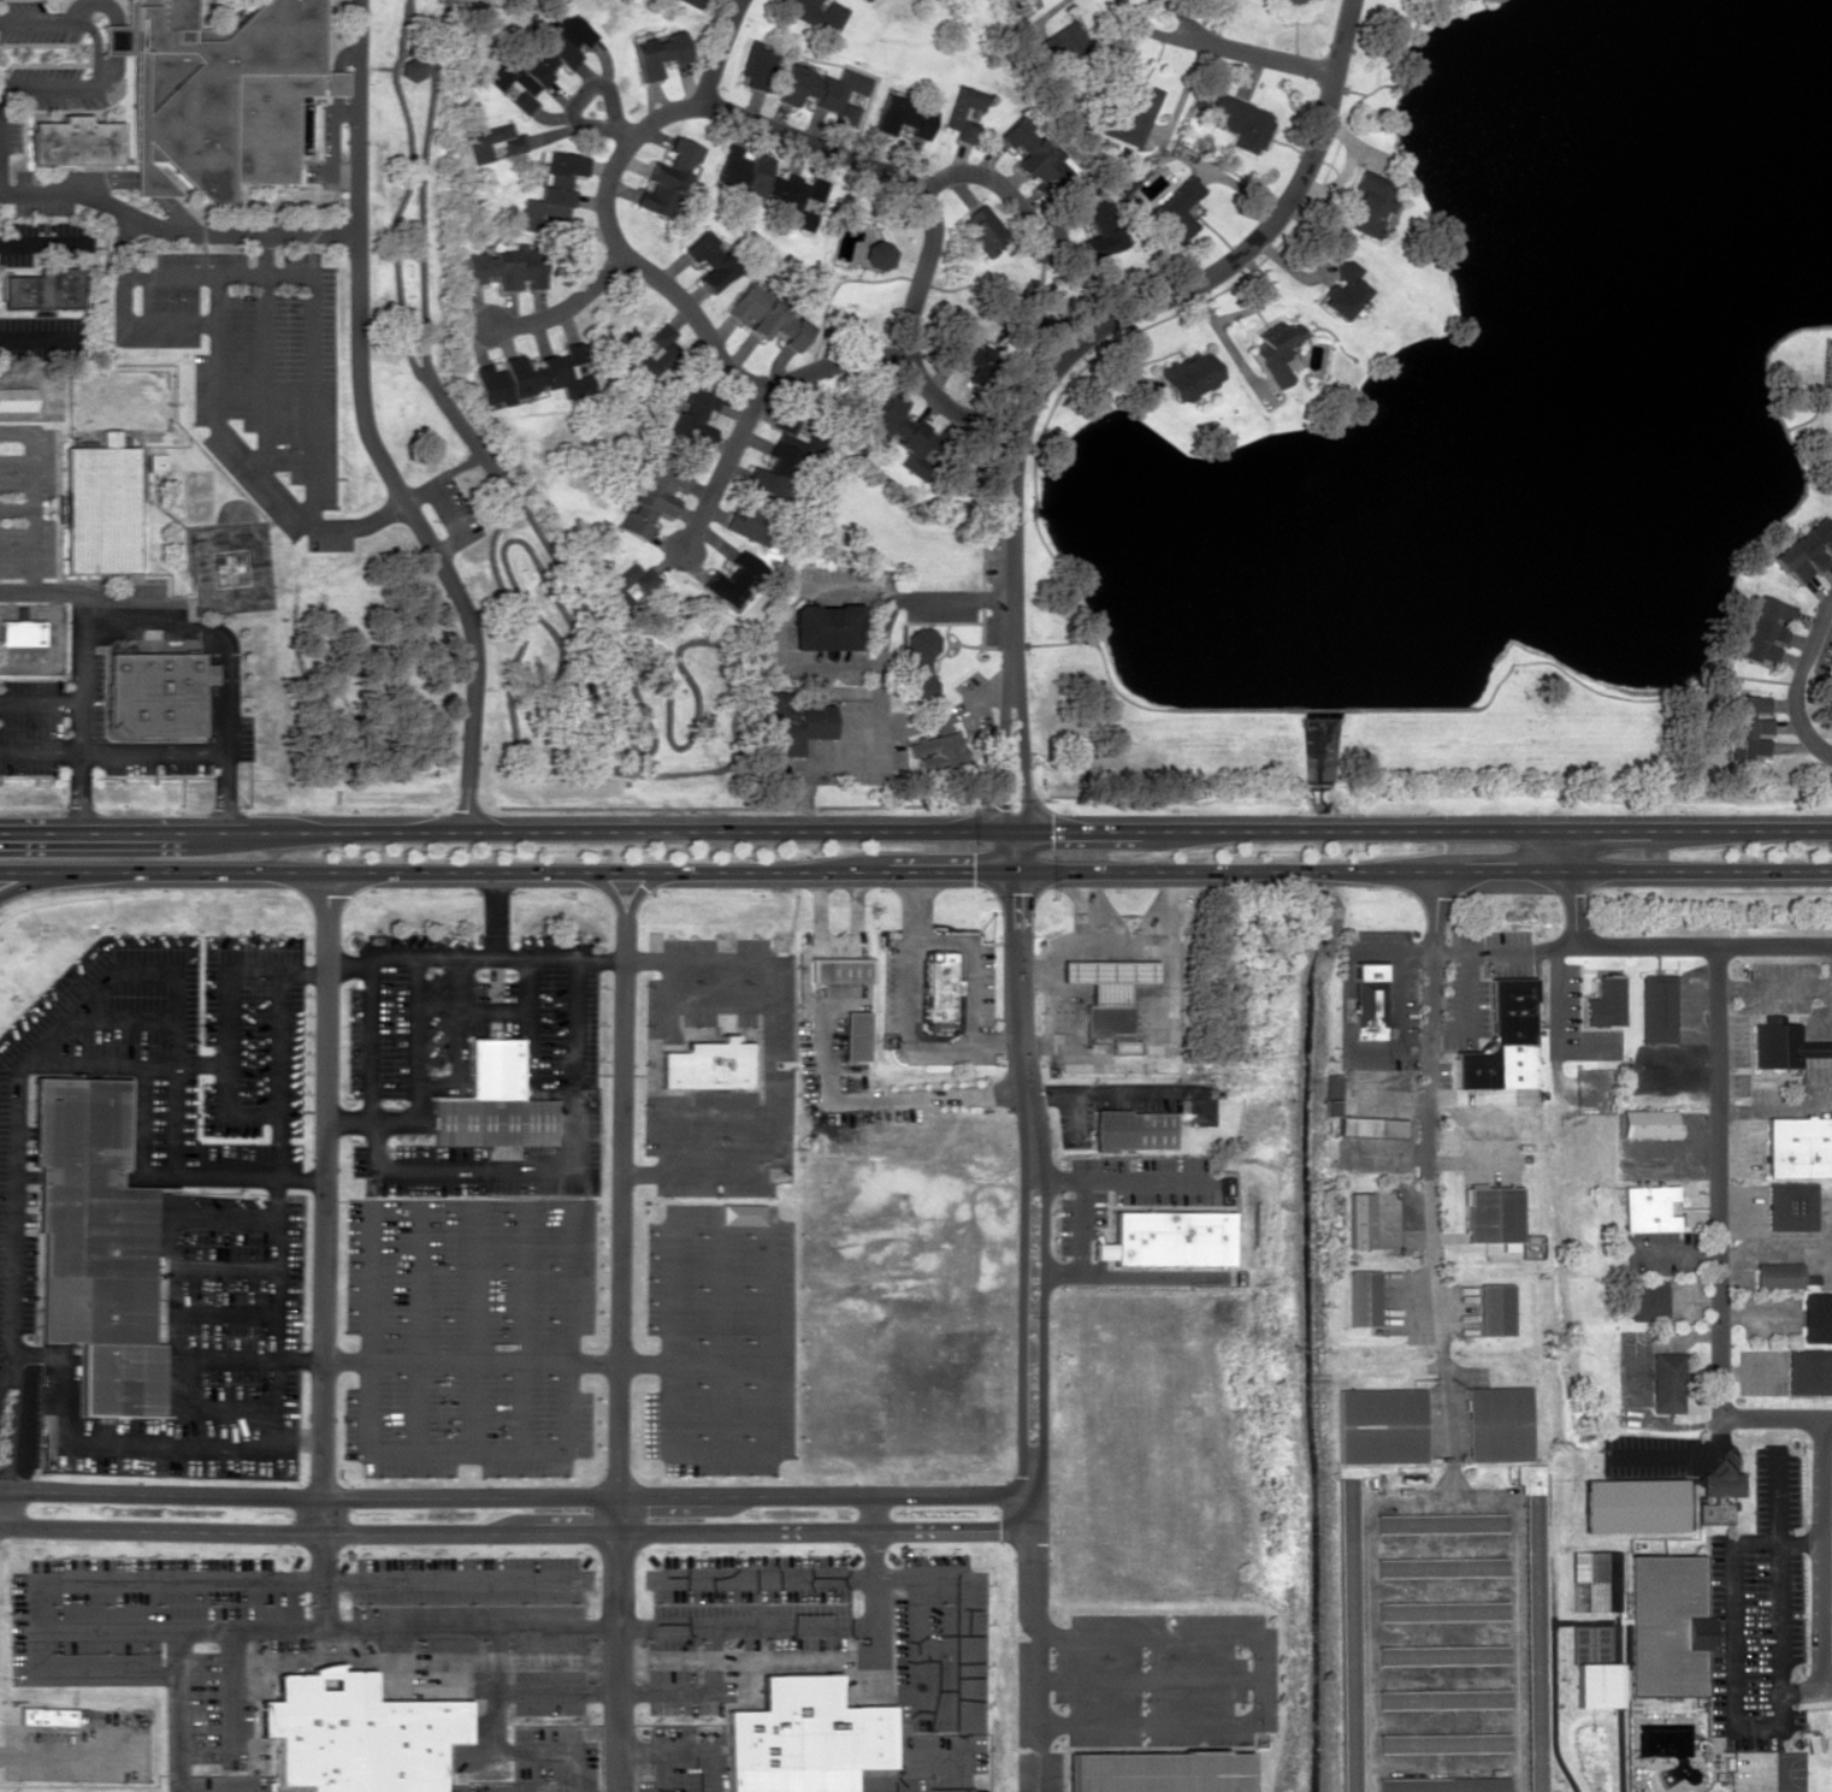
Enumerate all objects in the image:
building: (692, 1)
building: (1286, 1)
road: (407, 6)
road: (75, 8)
building: (819, 14)
parking lot: (34, 23)
road: (117, 43)
road: (716, 51)
road: (1230, 52)
building: (657, 53)
road: (96, 57)
building: (540, 58)
building: (757, 65)
building: (410, 69)
road: (587, 85)
parking lot: (53, 88)
building: (823, 90)
building: (221, 94)
road: (686, 108)
building: (1131, 110)
building: (964, 111)
road: (347, 112)
road: (336, 114)
building: (900, 116)
building: (1243, 122)
parking lot: (327, 129)
parking lot: (10, 132)
building: (76, 140)
building: (510, 144)
building: (1032, 152)
parking lot: (314, 171)
parking lot: (20, 175)
building: (666, 176)
road: (137, 177)
building: (1127, 177)
road: (993, 182)
building: (768, 184)
road: (421, 191)
road: (401, 194)
building: (1367, 203)
parking lot: (41, 207)
building: (1178, 207)
building: (1098, 226)
building: (982, 227)
road: (176, 230)
road: (45, 239)
parking lot: (45, 241)
building: (877, 254)
building: (708, 260)
building: (507, 266)
road: (217, 273)
building: (43, 286)
building: (1340, 290)
road: (562, 308)
road: (123, 312)
building: (766, 317)
parking lot: (45, 337)
road: (43, 339)
building: (652, 351)
building: (1275, 351)
road: (262, 353)
building: (968, 356)
road: (1065, 357)
building: (1188, 374)
building: (531, 375)
building: (17, 398)
road: (311, 400)
building: (692, 414)
road: (365, 430)
building: (903, 433)
road: (244, 456)
building: (776, 457)
building: (156, 460)
road: (454, 469)
road: (720, 471)
road: (31, 496)
building: (652, 496)
road: (16, 507)
building: (101, 507)
road: (445, 510)
park: (525, 518)
building: (747, 521)
road: (487, 543)
building: (1806, 550)
road: (501, 558)
road: (552, 560)
helipad: (227, 569)
building: (731, 579)
building: (630, 584)
road: (40, 592)
road: (144, 603)
building: (825, 626)
building: (1763, 628)
building: (20, 629)
road: (148, 631)
road: (697, 640)
building: (920, 663)
road: (554, 680)
road: (1803, 684)
building: (153, 694)
road: (40, 700)
road: (569, 703)
road: (81, 712)
building: (792, 723)
building: (1748, 727)
road: (226, 729)
road: (551, 733)
road: (651, 735)
building: (936, 745)
road: (113, 753)
road: (601, 764)
road: (667, 832)
road: (1582, 832)
traffic signals: (1016, 851)
road: (1582, 870)
road: (666, 871)
road: (37, 882)
road: (637, 894)
road: (611, 897)
road: (853, 907)
road: (816, 909)
road: (495, 913)
road: (1645, 953)
road: (415, 956)
road: (349, 966)
building: (838, 970)
road: (850, 971)
road: (859, 971)
road: (302, 972)
road: (831, 972)
road: (840, 972)
road: (800, 975)
building: (938, 988)
building: (1105, 996)
building: (1366, 999)
road: (668, 1001)
road: (717, 1004)
building: (1607, 1006)
road: (495, 1010)
building: (1659, 1013)
road: (122, 1017)
road: (530, 1021)
road: (59, 1027)
building: (853, 1034)
road: (416, 1037)
building: (1502, 1040)
road: (460, 1043)
building: (1783, 1048)
road: (226, 1059)
road: (125, 1064)
building: (705, 1064)
road: (768, 1070)
road: (1125, 1093)
building: (1329, 1093)
road: (877, 1099)
building: (494, 1101)
road: (1423, 1107)
road: (686, 1111)
road: (1066, 1119)
road: (371, 1120)
road: (141, 1122)
building: (1130, 1128)
building: (1653, 1129)
building: (1371, 1130)
building: (1800, 1151)
road: (554, 1170)
road: (274, 1172)
road: (221, 1179)
road: (1718, 1190)
parking lot: (172, 1195)
road: (324, 1202)
building: (1650, 1212)
building: (1795, 1212)
parking lot: (468, 1213)
building: (743, 1213)
building: (1491, 1213)
parking lot: (720, 1219)
road: (1032, 1219)
building: (1357, 1219)
road: (719, 1224)
building: (1164, 1237)
building: (94, 1244)
road: (218, 1265)
road: (162, 1278)
building: (1780, 1281)
building: (1360, 1297)
building: (1647, 1300)
building: (1493, 1308)
road: (218, 1309)
building: (1818, 1323)
road: (416, 1326)
road: (477, 1326)
road: (521, 1326)
road: (670, 1337)
road: (717, 1337)
road: (226, 1361)
road: (620, 1361)
road: (519, 1362)
road: (5, 1365)
building: (1812, 1377)
road: (766, 1385)
building: (1667, 1388)
road: (11, 1414)
building: (1496, 1423)
building: (1378, 1425)
road: (1775, 1426)
road: (122, 1439)
road: (468, 1454)
building: (1718, 1492)
road: (515, 1497)
road: (871, 1513)
building: (1441, 1521)
road: (515, 1533)
building: (1438, 1567)
building: (1596, 1577)
road: (918, 1578)
road: (190, 1579)
road: (320, 1581)
building: (1441, 1610)
road: (873, 1611)
building: (1665, 1626)
road: (451, 1627)
building: (1535, 1628)
road: (1135, 1634)
building: (1348, 1637)
building: (1441, 1652)
parking lot: (489, 1660)
road: (389, 1661)
road: (917, 1662)
road: (1147, 1679)
building: (1597, 1684)
road: (639, 1693)
road: (226, 1697)
building: (1442, 1698)
road: (176, 1710)
road: (1039, 1711)
building: (45, 1715)
road: (1190, 1722)
building: (355, 1733)
building: (804, 1737)
building: (1443, 1741)
road: (496, 1749)
road: (685, 1749)
road: (71, 1751)
road: (927, 1755)
road: (662, 1770)
building: (1154, 1772)
building: (1443, 1784)
road: (870, 1785)

